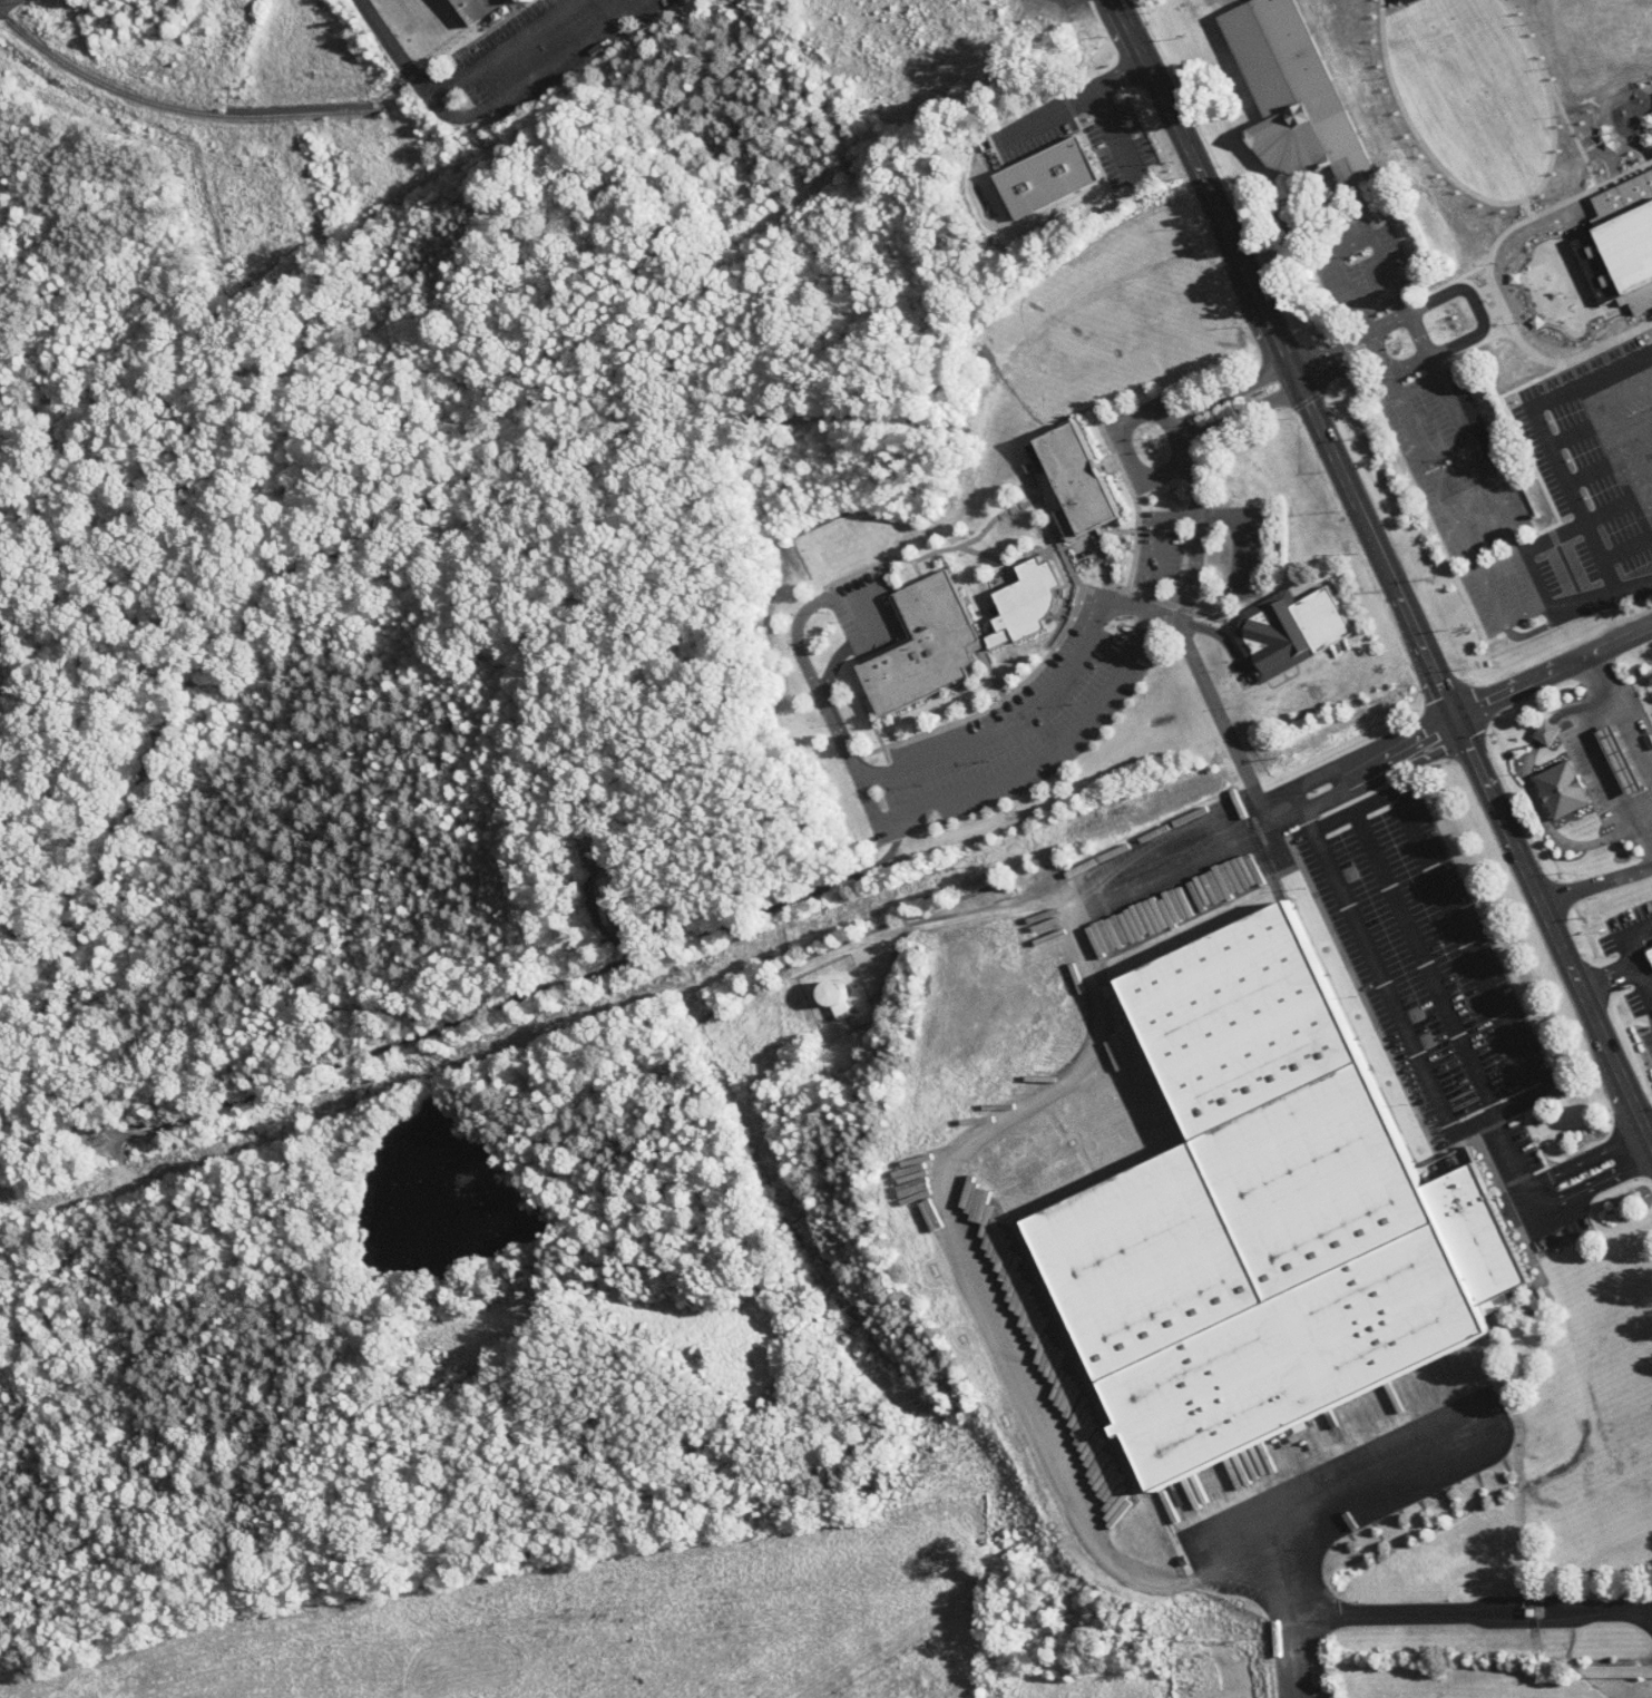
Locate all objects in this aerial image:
road: (9, 6)
building: (470, 8)
building: (453, 13)
building: (1292, 92)
building: (1044, 176)
road: (1350, 242)
building: (1621, 243)
road: (1390, 273)
road: (1347, 295)
road: (1385, 322)
road: (1368, 343)
road: (1327, 350)
road: (1424, 353)
road: (1642, 371)
road: (1649, 380)
road: (1231, 396)
road: (1239, 411)
road: (1466, 426)
road: (1629, 430)
road: (1606, 440)
road: (1423, 451)
road: (1638, 469)
building: (1073, 477)
road: (1632, 510)
road: (1192, 514)
road: (1517, 538)
road: (1634, 550)
road: (1385, 569)
road: (1635, 584)
building: (1020, 604)
road: (1170, 608)
road: (1525, 613)
road: (1561, 617)
building: (1291, 628)
building: (922, 646)
road: (1621, 712)
road: (1456, 715)
traffic signals: (1454, 718)
road: (1224, 726)
building: (1547, 731)
road: (1600, 755)
building: (1621, 758)
road: (981, 785)
building: (1563, 788)
road: (1644, 809)
road: (1596, 882)
building: (614, 900)
road: (1456, 924)
road: (1624, 937)
building: (1650, 952)
road: (1425, 963)
road: (1623, 970)
building: (834, 993)
water tower: (834, 994)
road: (1406, 1032)
road: (1589, 1158)
road: (1596, 1179)
building: (1263, 1218)
road: (1249, 1541)
road: (1335, 1606)
road: (1291, 1641)

